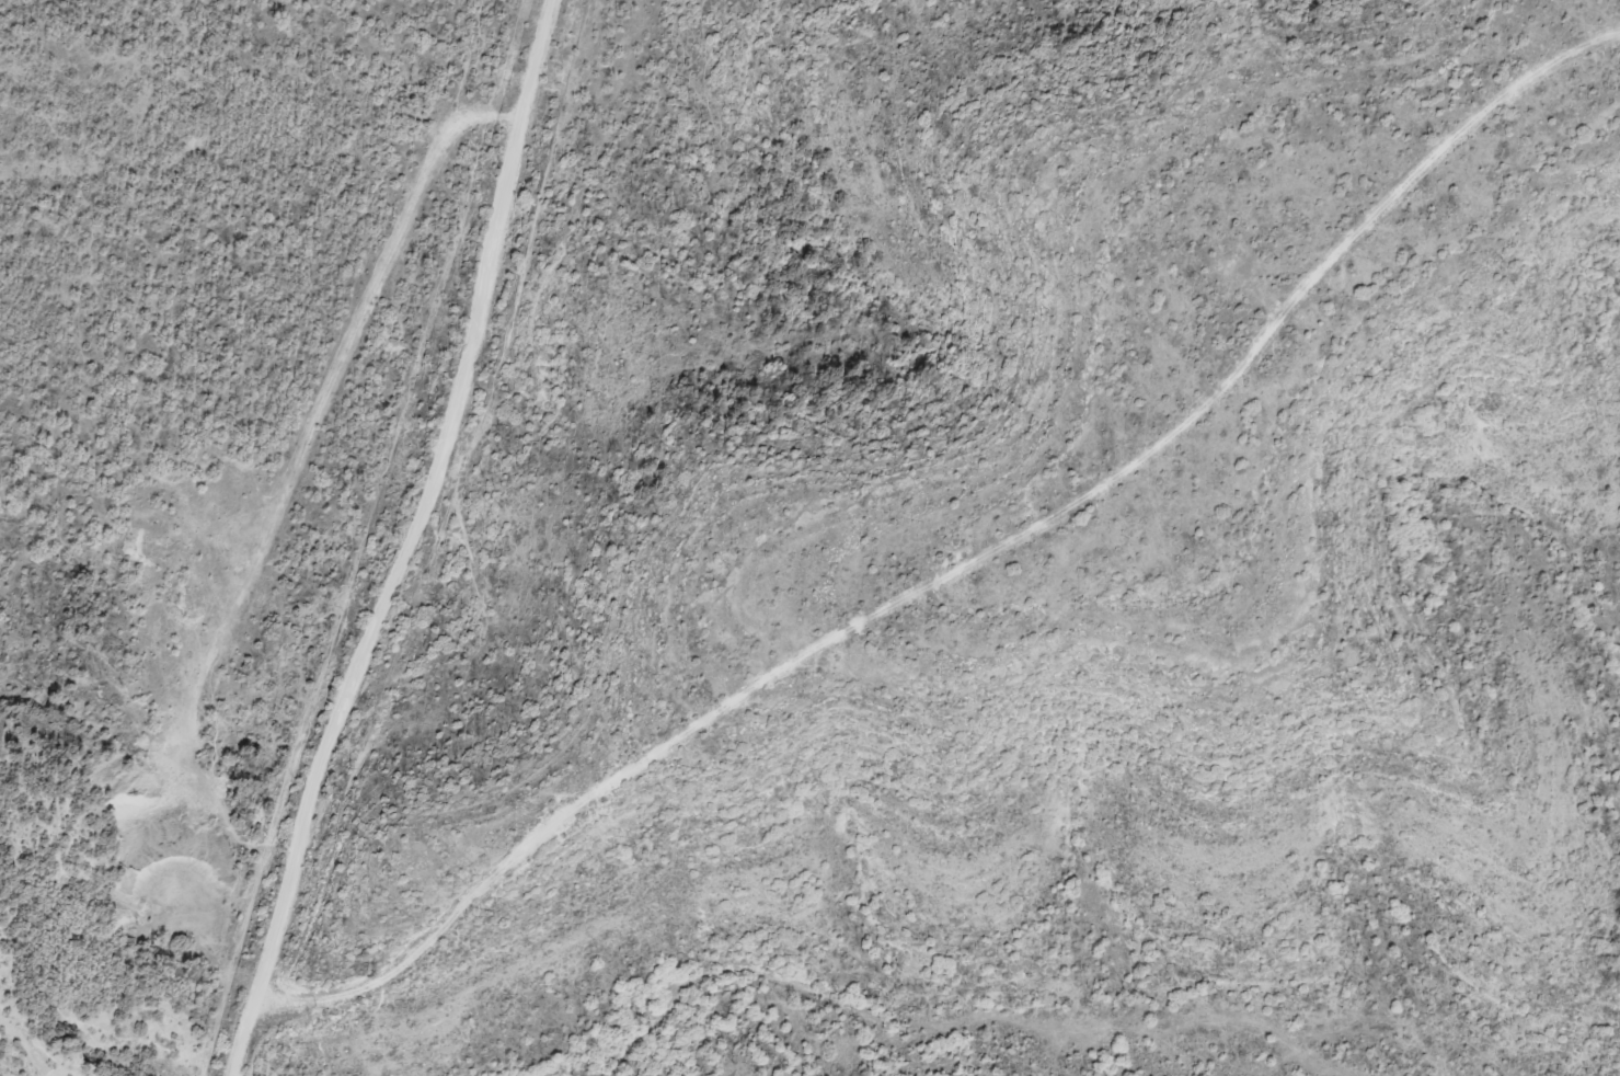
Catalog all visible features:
road: (413, 543)

